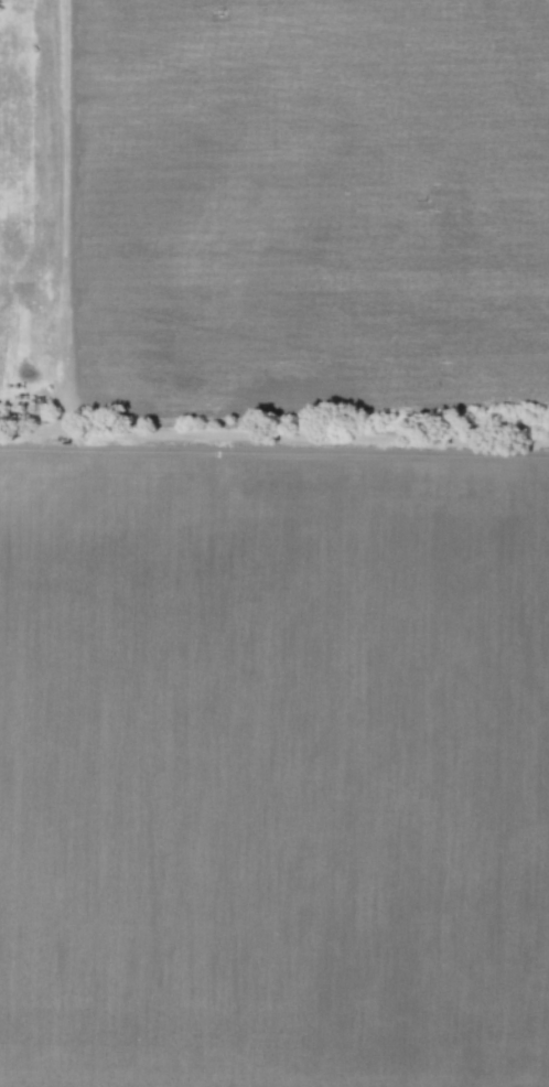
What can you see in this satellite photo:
crop: (274, 543)

